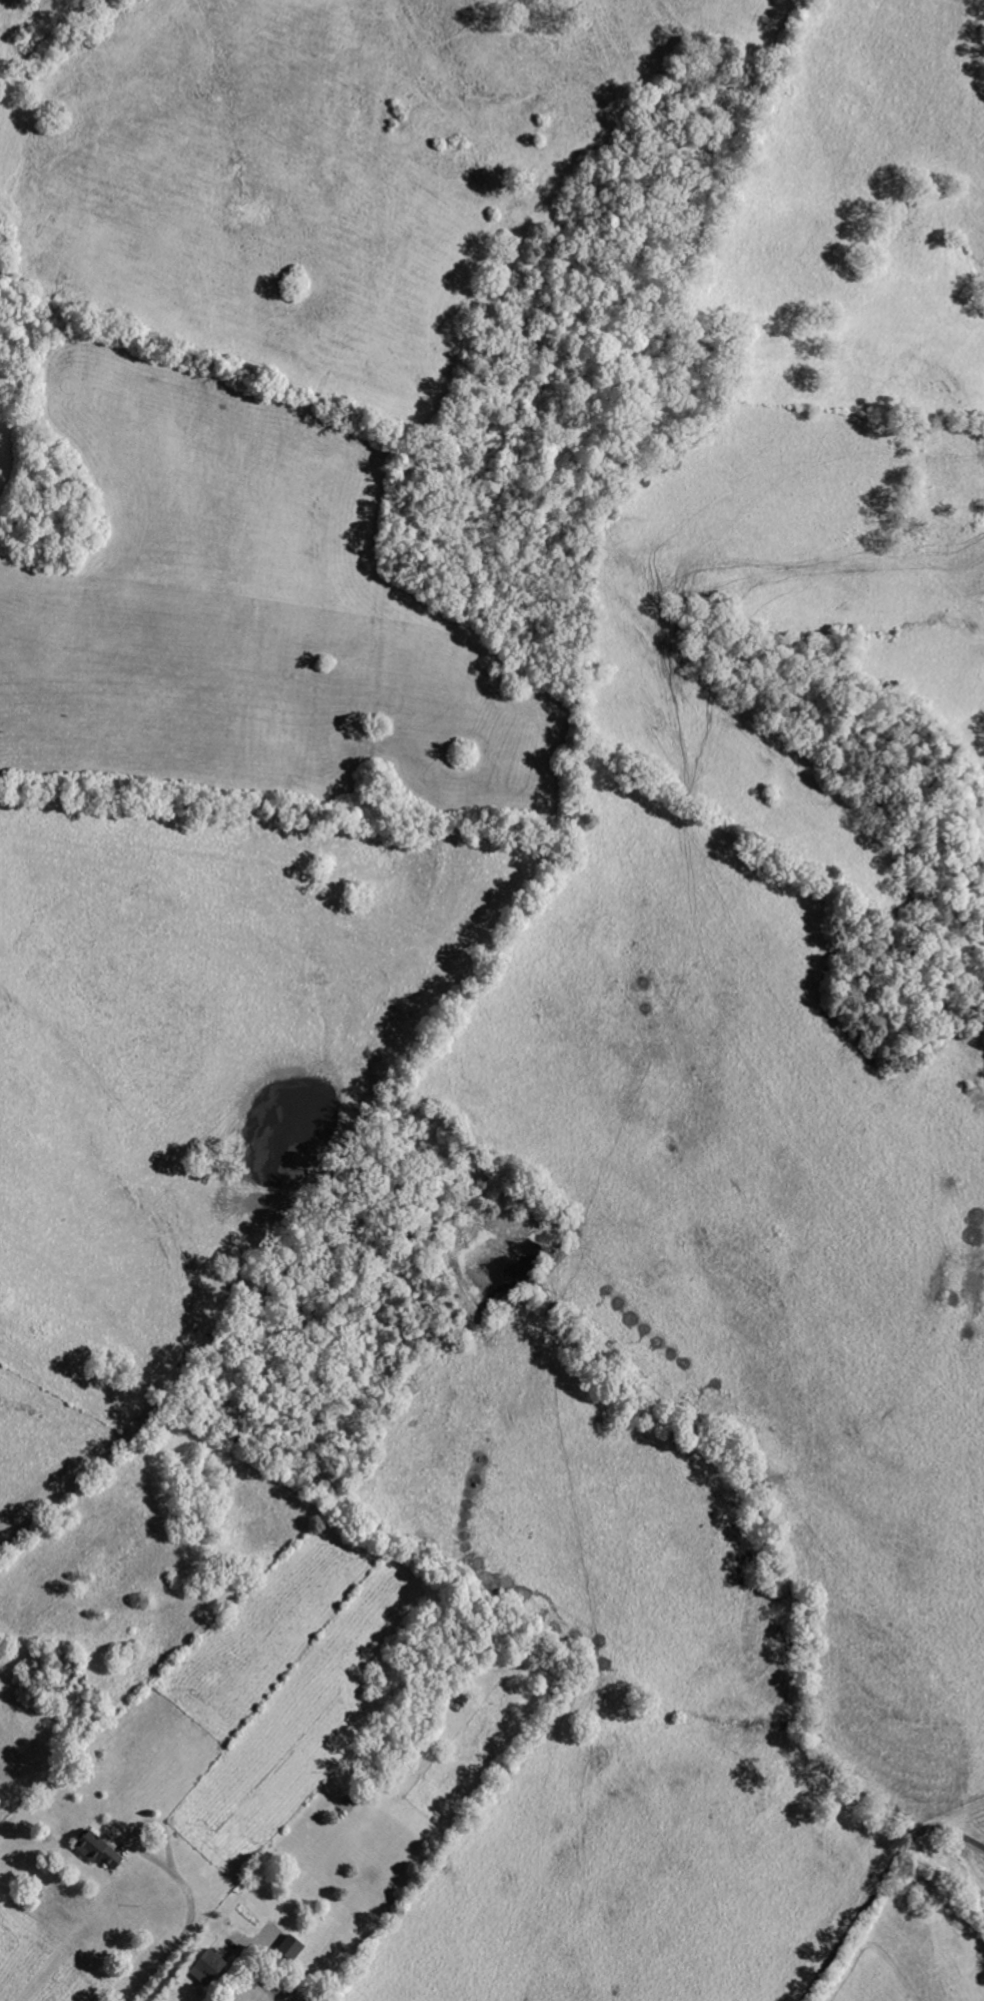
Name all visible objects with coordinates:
building: (94, 1851)
road: (878, 1885)
road: (189, 1921)
building: (289, 1950)
building: (204, 1968)
road: (217, 1988)

